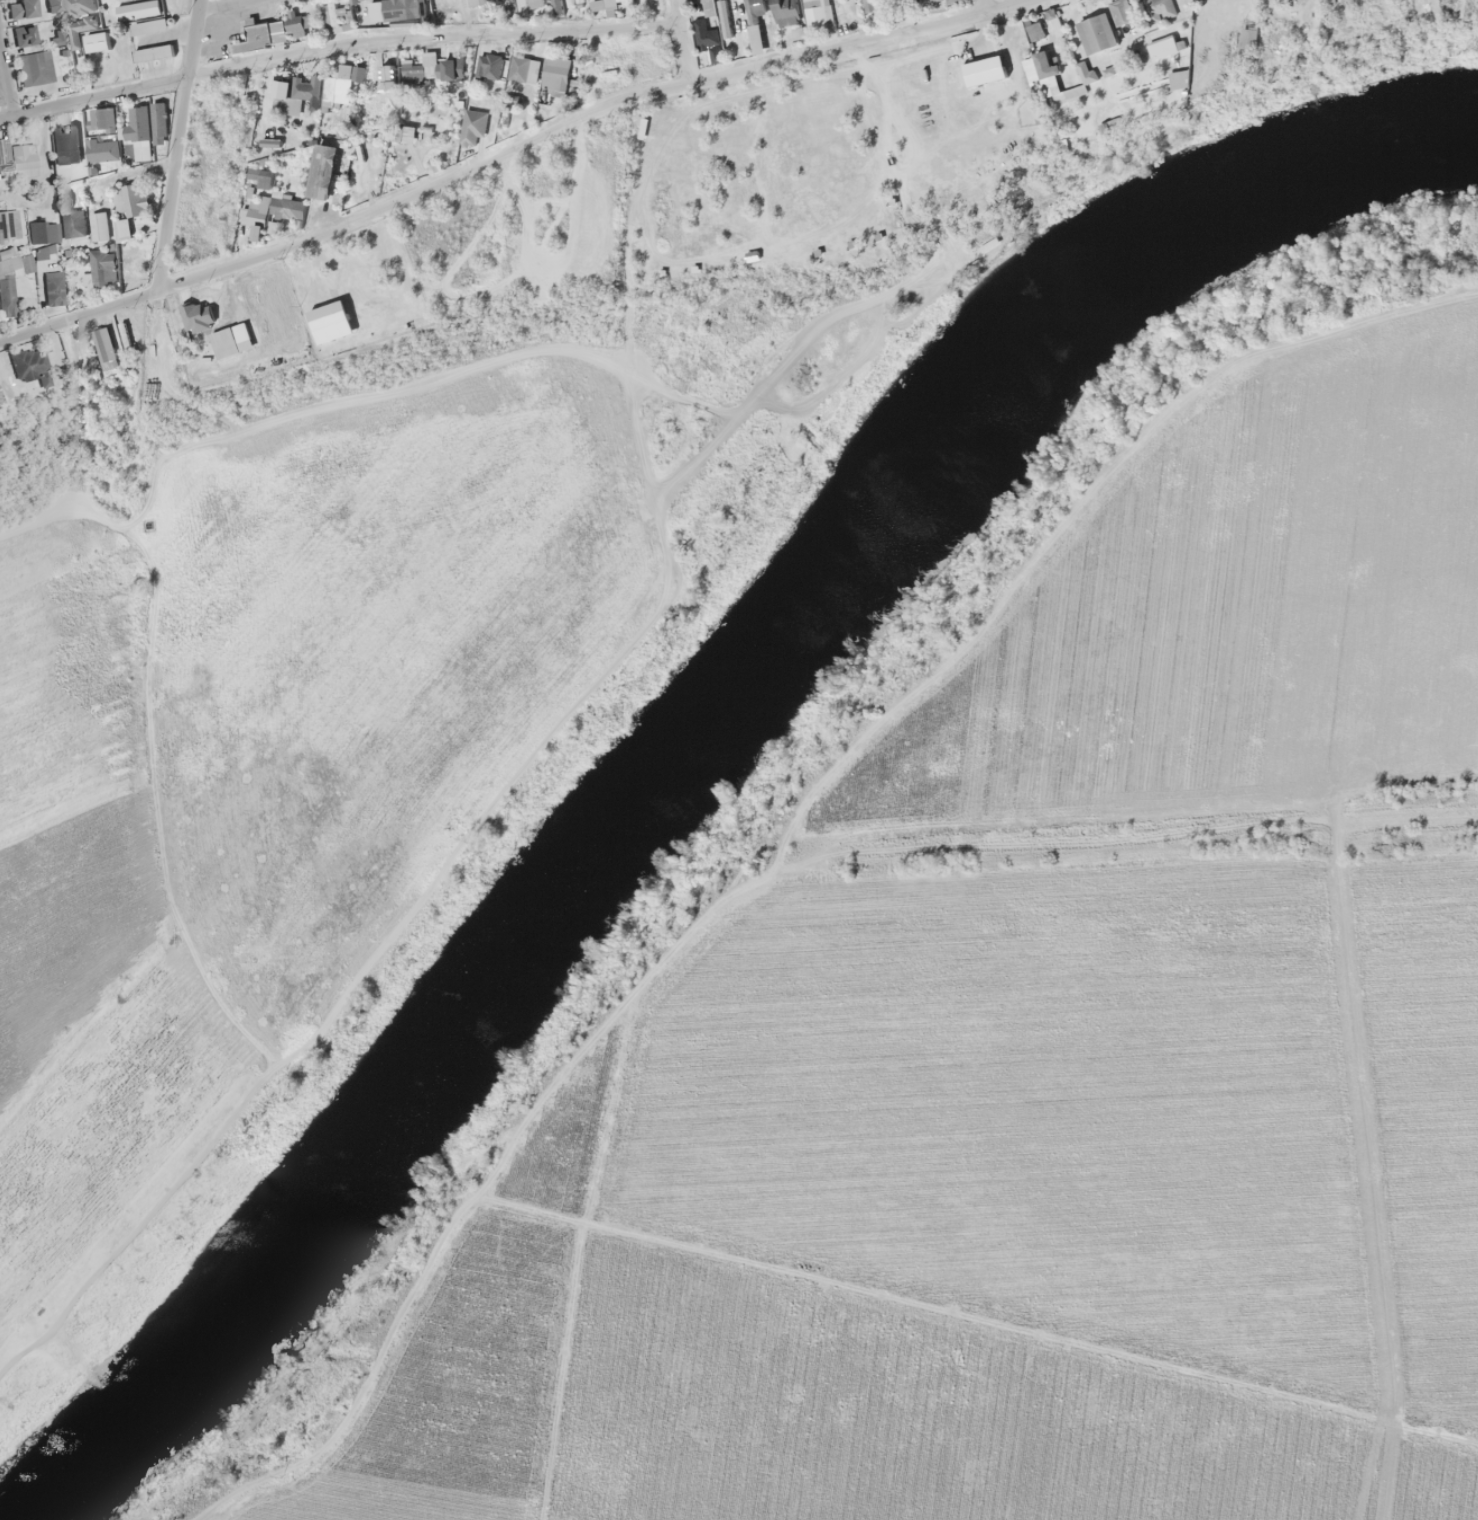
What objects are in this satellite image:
building: (477, 2)
building: (871, 5)
road: (227, 6)
building: (558, 7)
road: (983, 7)
road: (1006, 7)
building: (709, 8)
building: (22, 9)
building: (405, 10)
building: (375, 11)
building: (818, 12)
building: (786, 14)
building: (334, 17)
building: (725, 18)
building: (756, 24)
building: (1096, 33)
building: (24, 36)
building: (257, 37)
road: (683, 40)
building: (710, 43)
road: (336, 46)
building: (152, 53)
building: (489, 66)
building: (34, 68)
building: (451, 69)
building: (520, 69)
building: (418, 70)
building: (555, 75)
building: (341, 83)
road: (5, 85)
building: (285, 97)
building: (158, 123)
building: (474, 124)
building: (135, 125)
building: (404, 134)
building: (102, 136)
building: (66, 145)
road: (177, 146)
building: (17, 158)
road: (486, 159)
building: (322, 172)
building: (132, 200)
building: (287, 207)
building: (255, 216)
building: (75, 223)
building: (8, 225)
building: (123, 227)
building: (98, 229)
building: (42, 232)
building: (43, 252)
building: (130, 261)
building: (102, 268)
building: (7, 280)
building: (52, 288)
building: (231, 340)
building: (104, 349)
building: (29, 365)
road: (290, 414)
river: (763, 645)
river: (111, 1435)

